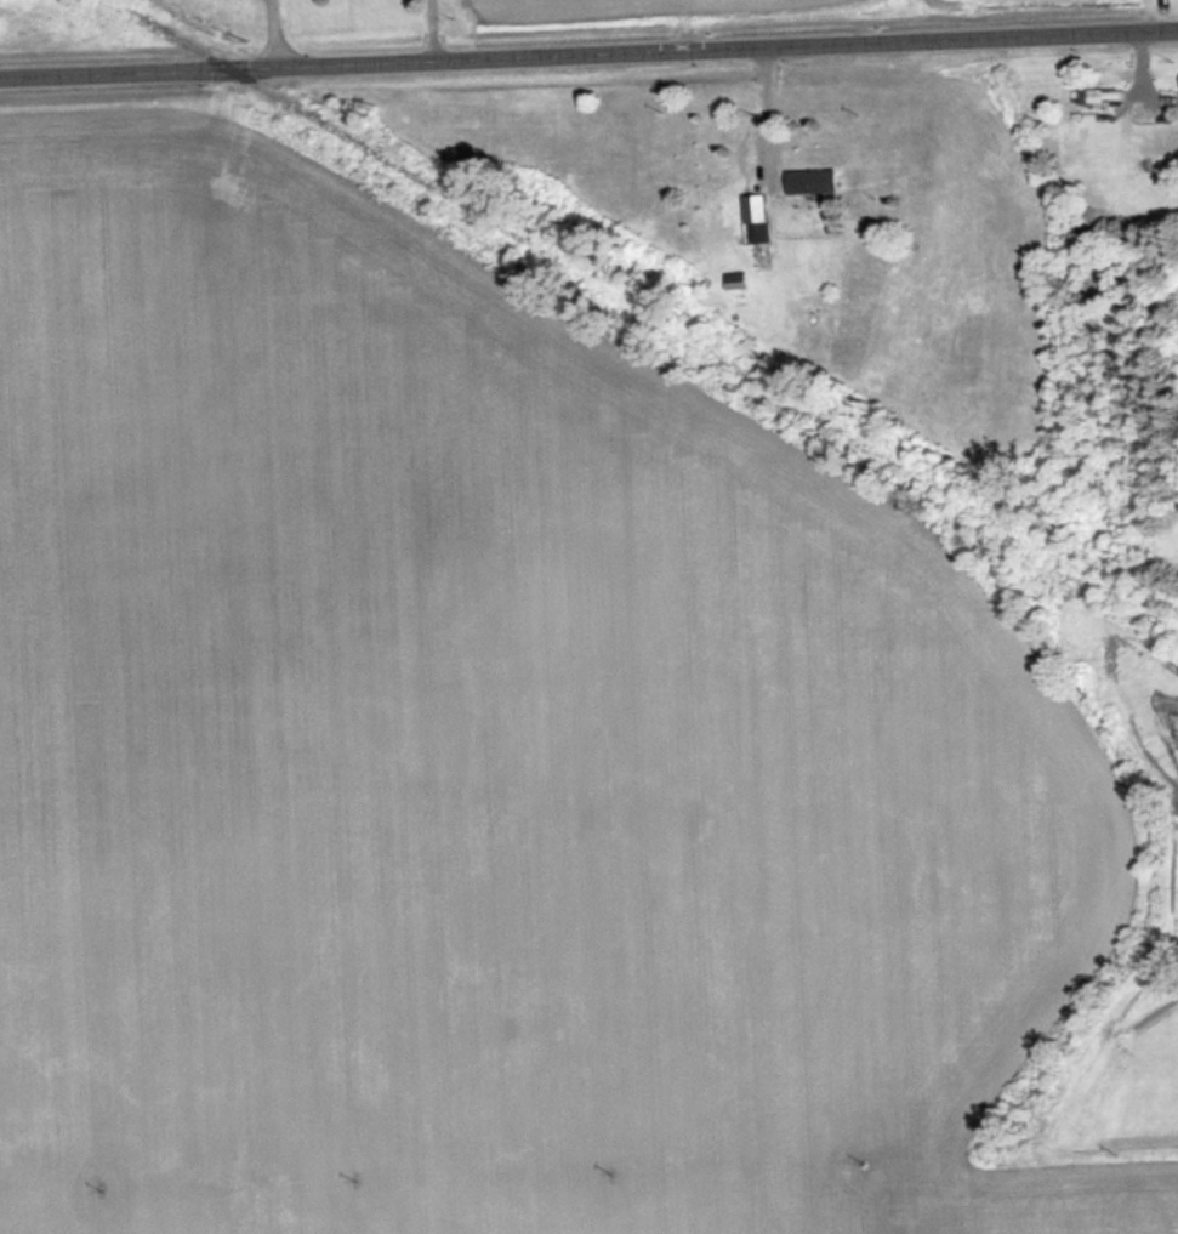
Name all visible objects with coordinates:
road: (588, 52)
building: (813, 181)
building: (757, 217)
railway: (647, 311)

